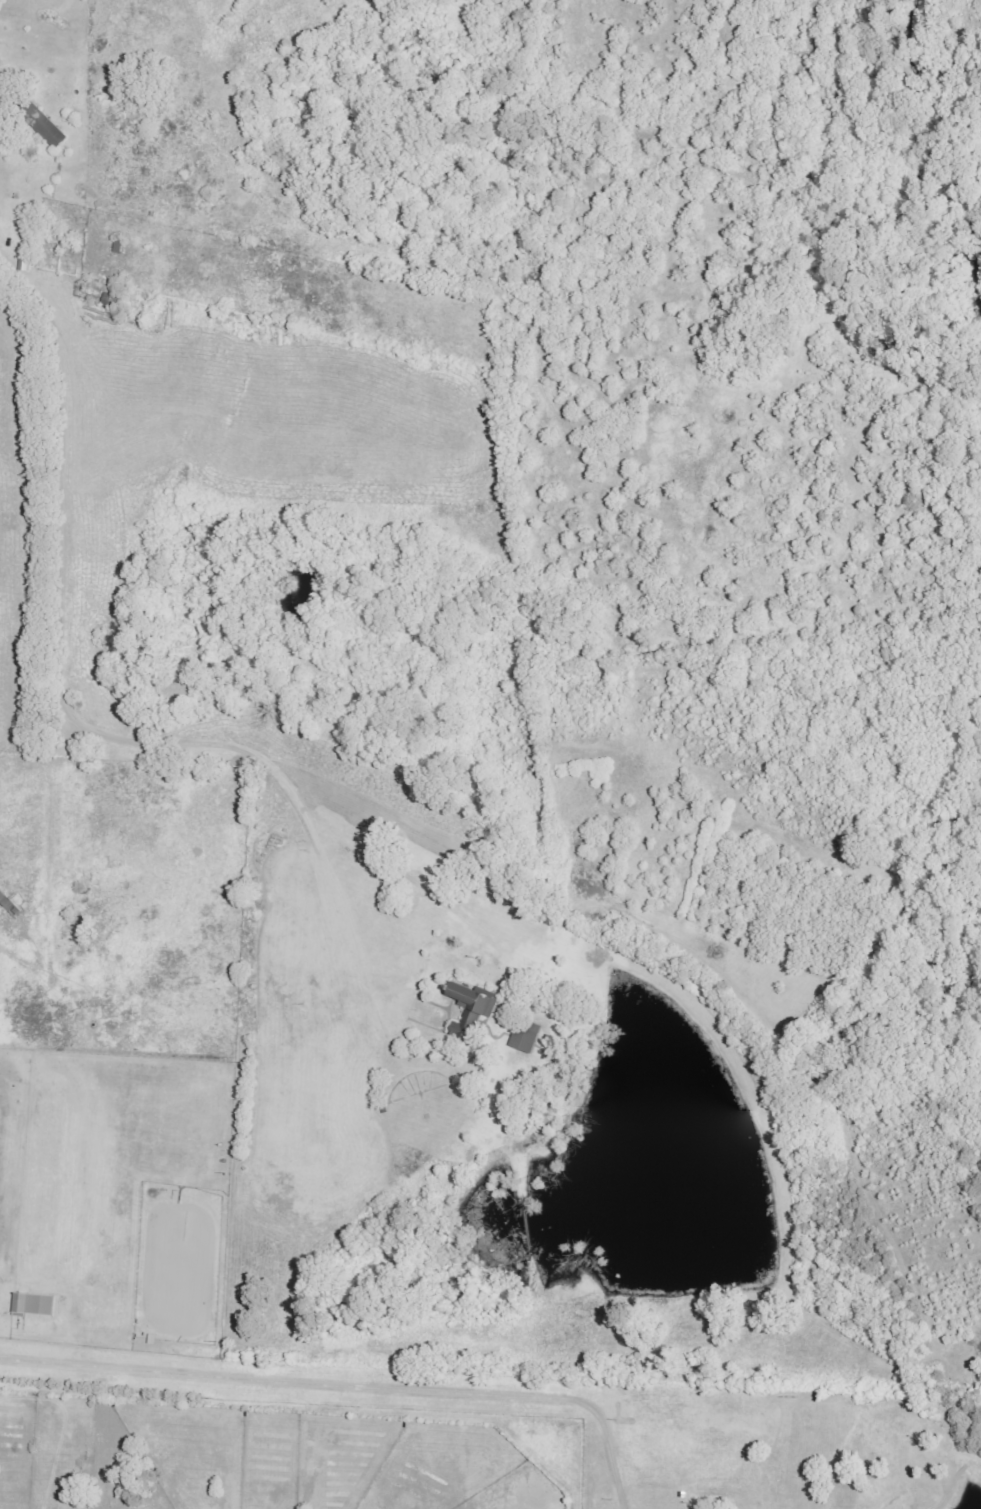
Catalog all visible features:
building: (50, 132)
building: (471, 1008)
building: (526, 1037)
building: (33, 1304)

